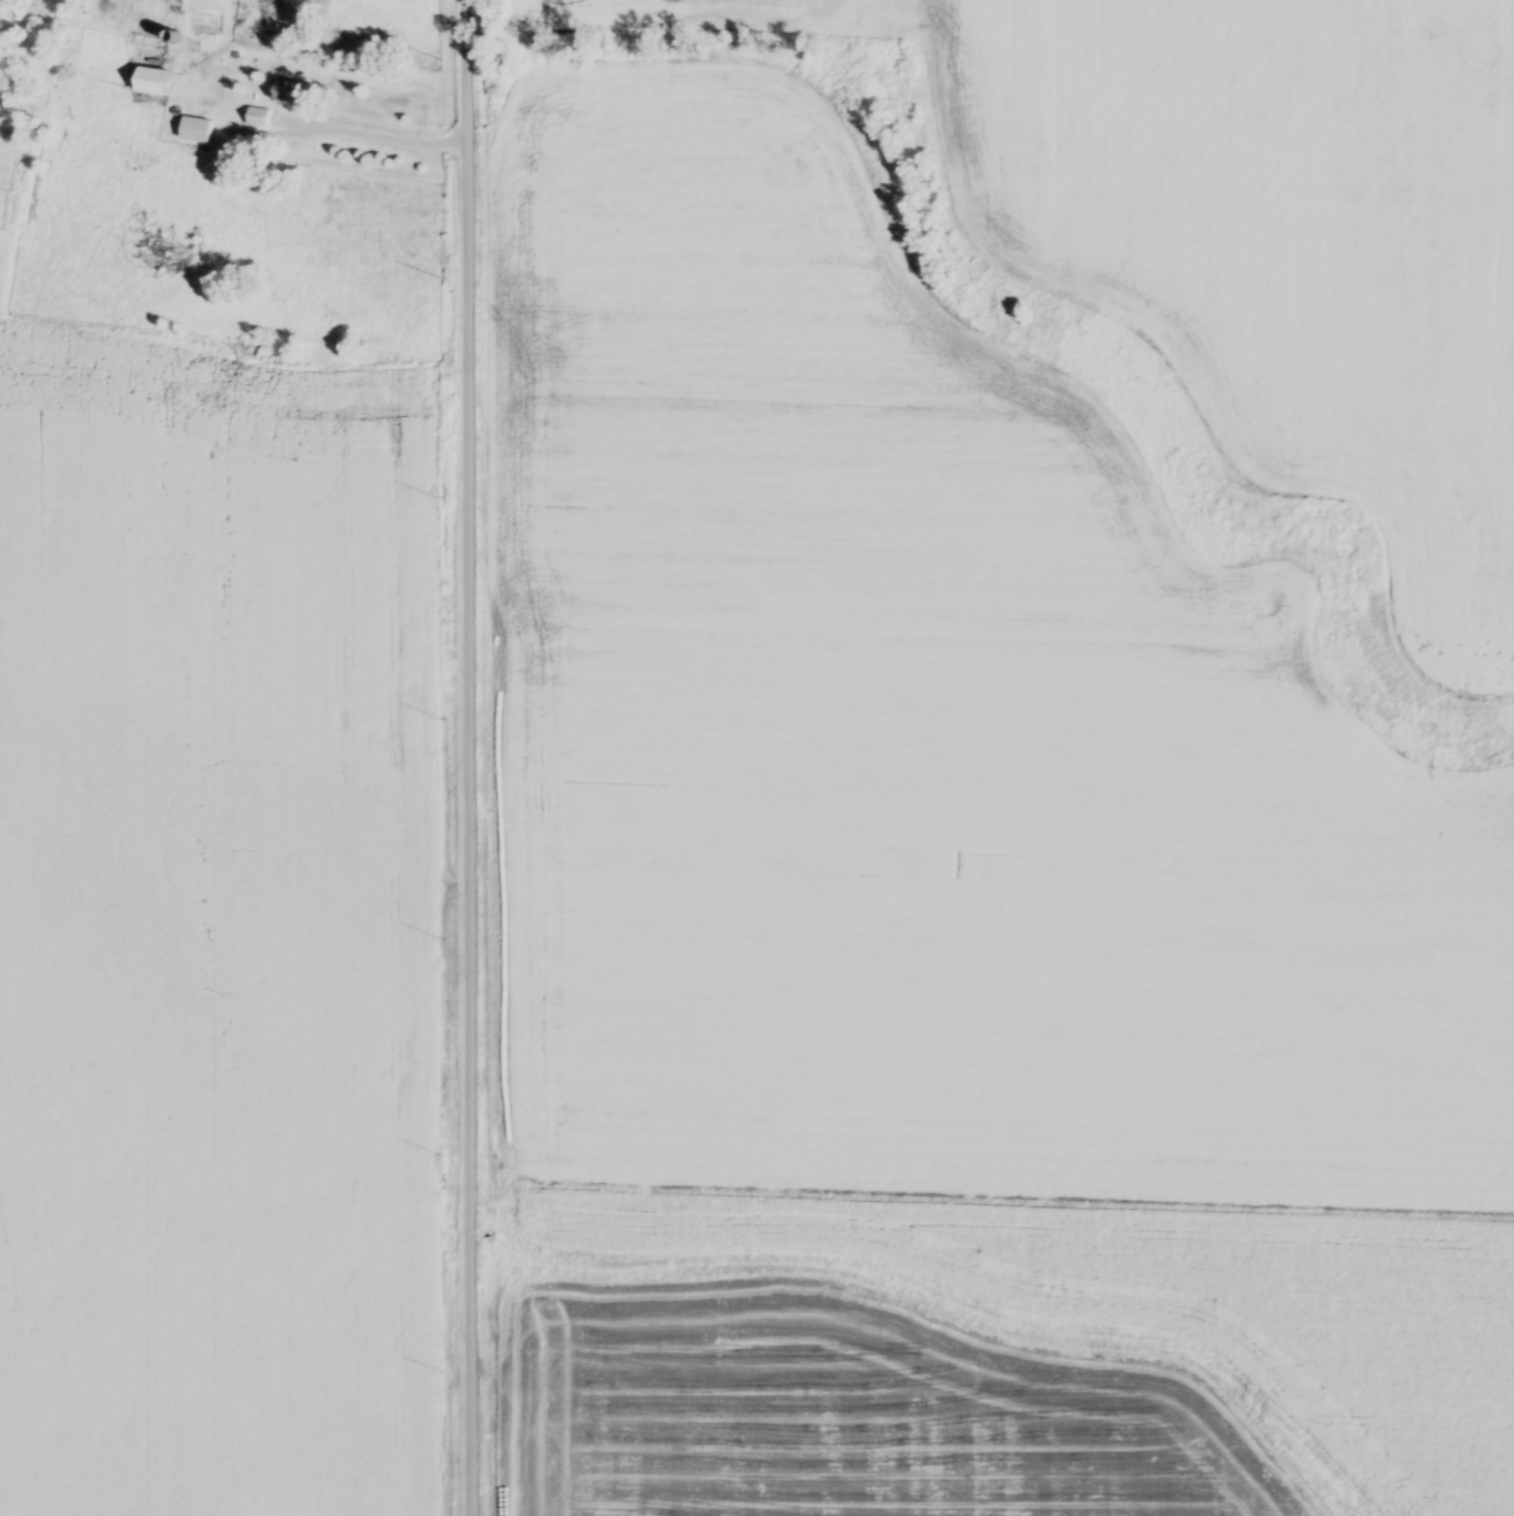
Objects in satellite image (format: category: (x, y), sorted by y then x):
building: (284, 93)
building: (257, 118)
road: (381, 128)
road: (474, 757)

